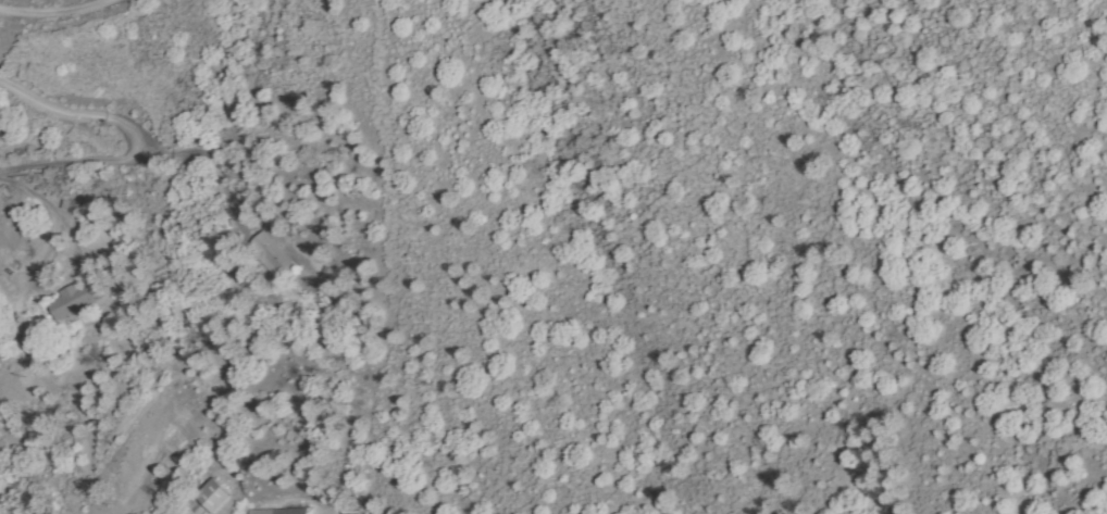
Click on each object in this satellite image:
road: (55, 15)
road: (132, 139)
building: (74, 204)
building: (276, 256)
building: (333, 281)
building: (73, 301)
building: (211, 497)
building: (355, 509)
building: (287, 511)

